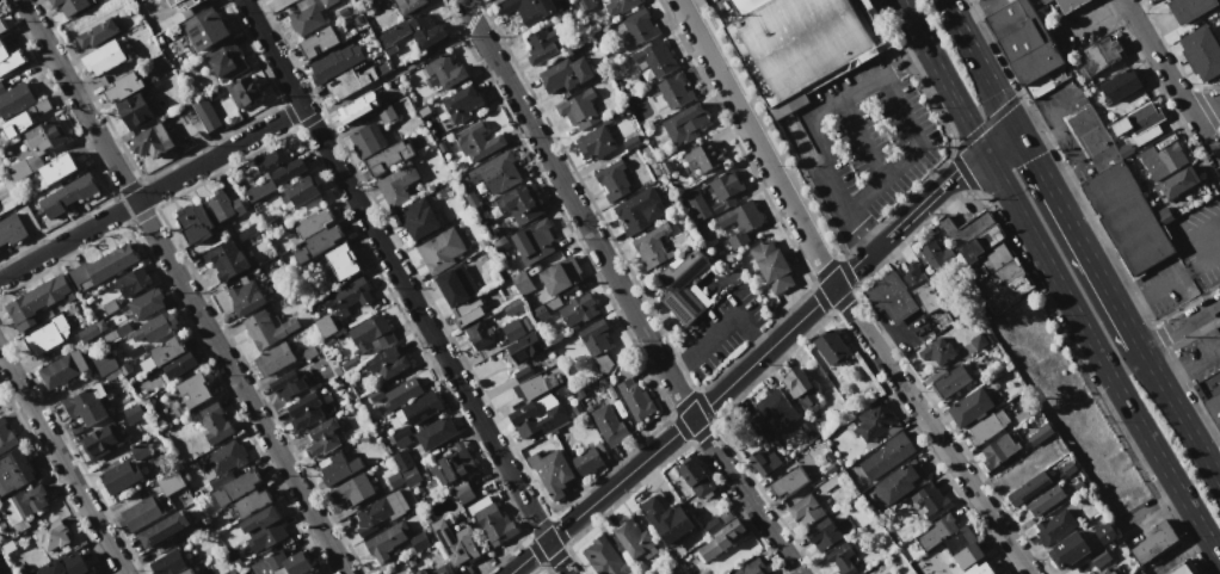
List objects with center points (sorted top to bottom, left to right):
building: (1043, 1)
building: (328, 2)
building: (585, 4)
road: (719, 4)
building: (69, 5)
building: (409, 5)
building: (747, 5)
building: (1070, 5)
building: (620, 6)
building: (529, 8)
building: (1190, 8)
road: (973, 11)
building: (178, 12)
road: (1098, 16)
building: (306, 19)
building: (1219, 25)
building: (640, 26)
building: (2, 29)
building: (208, 31)
building: (425, 31)
building: (97, 32)
building: (1219, 36)
building: (1024, 39)
building: (320, 42)
building: (805, 43)
building: (542, 45)
building: (1201, 53)
building: (1102, 55)
building: (106, 56)
building: (8, 58)
building: (655, 58)
road: (979, 60)
building: (227, 63)
building: (335, 63)
road: (405, 64)
building: (443, 73)
building: (566, 74)
road: (939, 74)
road: (1171, 80)
building: (349, 81)
building: (1120, 85)
building: (124, 86)
building: (673, 90)
building: (244, 92)
building: (14, 99)
building: (461, 103)
building: (358, 107)
building: (136, 109)
building: (579, 110)
building: (386, 113)
road: (1208, 115)
building: (25, 118)
building: (1138, 118)
traffic signals: (1013, 122)
building: (685, 123)
building: (191, 124)
road: (1061, 124)
road: (794, 125)
road: (998, 135)
building: (44, 137)
building: (1092, 138)
building: (150, 140)
building: (368, 140)
road: (862, 140)
building: (476, 141)
building: (631, 142)
building: (594, 143)
road: (913, 154)
building: (703, 156)
building: (389, 158)
building: (1163, 161)
building: (279, 165)
building: (666, 167)
building: (58, 168)
building: (19, 169)
building: (500, 169)
road: (1065, 172)
building: (612, 180)
building: (1176, 183)
building: (396, 184)
building: (260, 189)
building: (725, 191)
road: (150, 192)
building: (300, 192)
road: (934, 192)
building: (67, 196)
building: (689, 198)
building: (224, 204)
building: (519, 204)
building: (637, 210)
building: (418, 217)
building: (1128, 217)
building: (695, 218)
building: (195, 222)
building: (313, 222)
building: (743, 223)
building: (965, 228)
building: (11, 229)
road: (1193, 232)
road: (1077, 234)
building: (249, 235)
building: (534, 241)
building: (318, 242)
building: (500, 243)
building: (979, 243)
building: (652, 246)
building: (440, 249)
building: (996, 257)
building: (937, 258)
building: (226, 259)
building: (343, 261)
building: (772, 265)
building: (101, 267)
building: (1004, 273)
building: (561, 274)
building: (133, 280)
building: (520, 282)
building: (683, 284)
road: (1171, 284)
building: (455, 285)
road: (181, 286)
building: (920, 286)
road: (402, 288)
road: (621, 291)
building: (1009, 294)
road: (839, 295)
building: (347, 296)
building: (891, 296)
building: (246, 297)
building: (37, 300)
building: (146, 302)
building: (109, 307)
building: (511, 308)
building: (544, 309)
building: (577, 309)
building: (468, 311)
building: (159, 325)
building: (326, 325)
road: (1179, 325)
building: (267, 328)
building: (512, 331)
building: (88, 332)
building: (117, 332)
road: (720, 332)
building: (370, 333)
building: (480, 333)
building: (594, 337)
building: (42, 339)
road: (894, 340)
building: (979, 341)
building: (831, 347)
traffic signals: (1141, 348)
building: (525, 350)
building: (136, 351)
building: (310, 351)
building: (937, 351)
building: (161, 353)
road: (1097, 354)
road: (1204, 354)
building: (273, 358)
building: (104, 362)
building: (388, 363)
building: (179, 364)
building: (347, 364)
building: (62, 369)
traffic signals: (1108, 372)
building: (951, 381)
building: (288, 384)
building: (534, 385)
building: (802, 388)
building: (193, 389)
building: (562, 390)
building: (396, 394)
building: (1210, 394)
building: (634, 399)
building: (85, 406)
building: (972, 407)
building: (418, 408)
road: (701, 409)
building: (776, 409)
building: (304, 411)
building: (133, 413)
building: (537, 415)
road: (1179, 415)
building: (875, 421)
building: (216, 422)
building: (756, 424)
building: (609, 425)
building: (987, 426)
building: (435, 432)
building: (562, 436)
building: (5, 437)
building: (400, 437)
building: (322, 438)
building: (1065, 439)
building: (101, 440)
building: (138, 451)
building: (998, 451)
building: (830, 455)
building: (887, 456)
building: (402, 459)
building: (222, 461)
building: (586, 461)
building: (763, 462)
road: (61, 464)
building: (452, 464)
building: (338, 469)
building: (13, 470)
building: (552, 471)
building: (695, 475)
road: (1218, 475)
building: (121, 476)
building: (412, 477)
building: (394, 480)
building: (789, 480)
building: (170, 482)
building: (899, 482)
building: (235, 488)
building: (1029, 488)
building: (352, 490)
building: (464, 494)
building: (1046, 500)
building: (932, 501)
building: (251, 502)
building: (24, 505)
building: (806, 510)
building: (143, 512)
building: (381, 512)
building: (666, 519)
building: (494, 524)
building: (1053, 526)
building: (165, 529)
building: (261, 530)
building: (937, 531)
building: (1105, 533)
building: (824, 535)
building: (51, 536)
building: (633, 538)
building: (720, 539)
building: (384, 541)
building: (419, 542)
building: (456, 542)
building: (1154, 542)
building: (8, 547)
building: (1068, 550)
building: (968, 555)
building: (604, 557)
building: (1099, 557)
building: (842, 558)
building: (235, 562)
building: (168, 563)
building: (282, 563)
building: (67, 564)
building: (752, 568)
building: (1184, 568)
building: (20, 569)
building: (444, 569)
building: (979, 569)
building: (186, 570)
building: (228, 572)
building: (1105, 572)
building: (314, 573)
building: (424, 573)
building: (633, 573)

